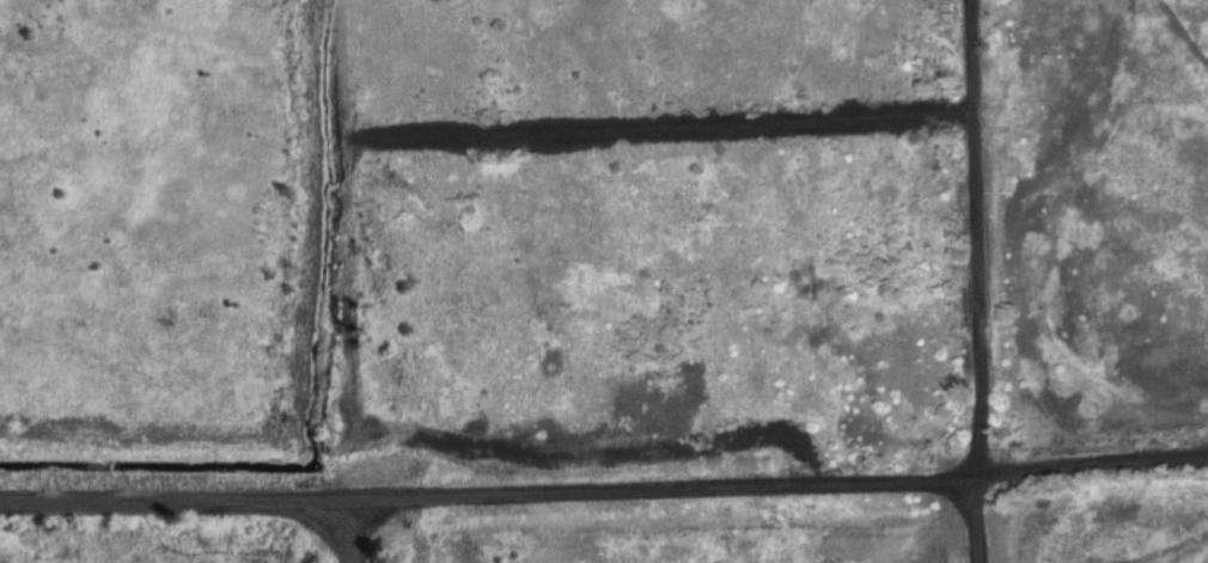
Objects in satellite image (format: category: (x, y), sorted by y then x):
power tower: (325, 436)

